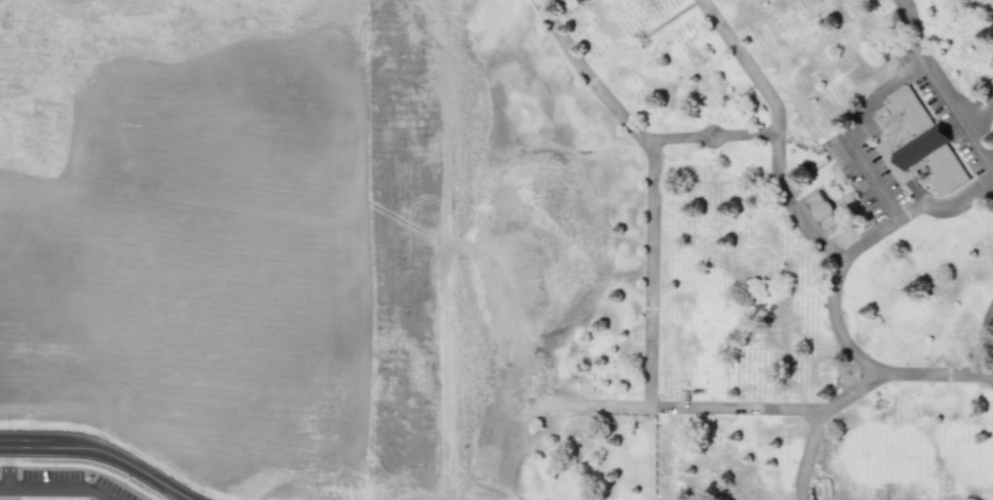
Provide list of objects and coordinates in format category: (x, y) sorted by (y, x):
road: (934, 58)
road: (588, 72)
road: (775, 123)
road: (860, 127)
road: (975, 134)
building: (917, 143)
road: (791, 207)
building: (822, 210)
park: (761, 252)
road: (650, 273)
road: (832, 293)
road: (980, 340)
road: (682, 407)
road: (817, 423)
road: (97, 454)
road: (4, 488)
road: (38, 490)
road: (178, 498)

